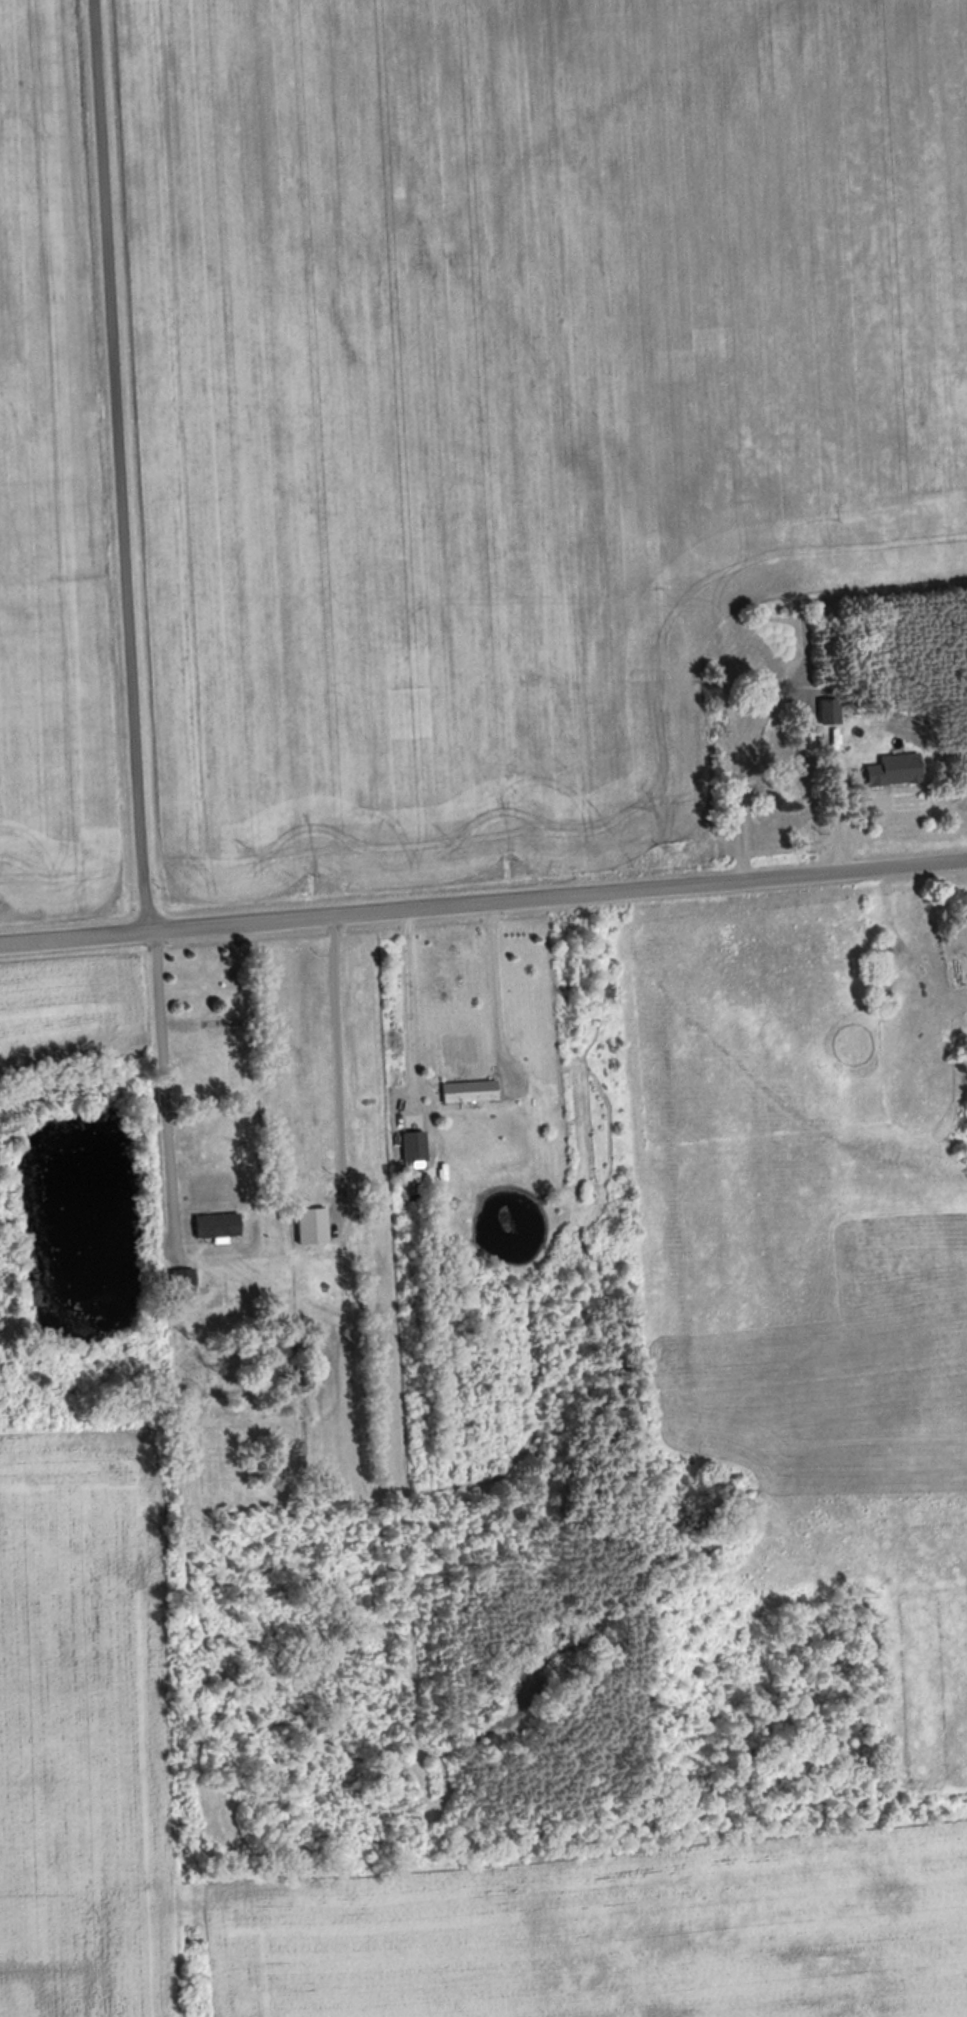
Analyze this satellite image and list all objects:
road: (116, 466)
building: (833, 711)
building: (897, 770)
road: (483, 903)
building: (884, 945)
road: (498, 986)
building: (471, 1092)
building: (417, 1147)
building: (221, 1225)
building: (315, 1226)
building: (185, 1281)

